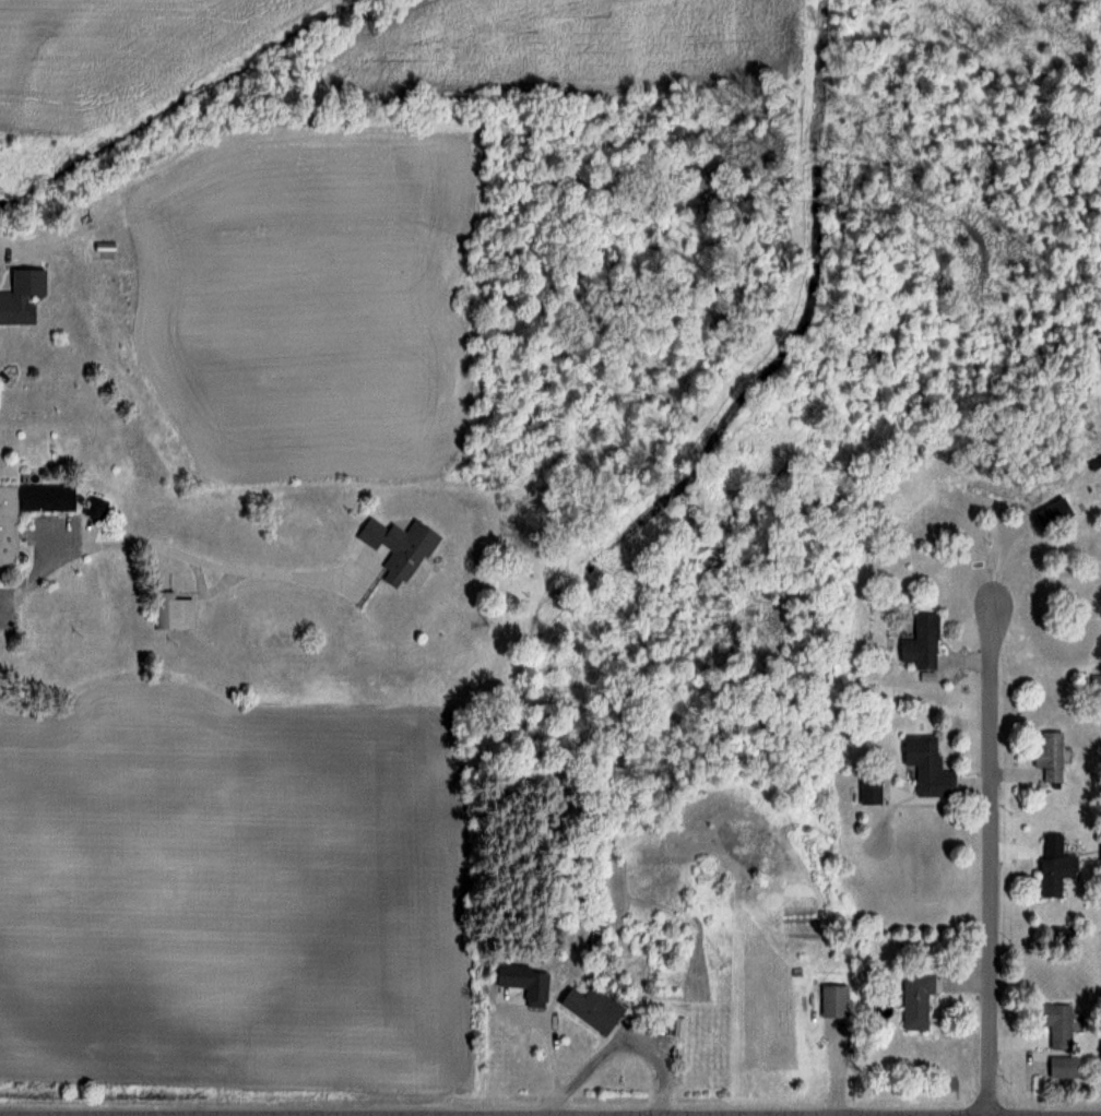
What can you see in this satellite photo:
road: (1, 245)
building: (22, 288)
building: (96, 507)
building: (1053, 513)
building: (8, 537)
building: (395, 548)
road: (48, 565)
road: (238, 570)
building: (173, 612)
building: (921, 642)
building: (1096, 688)
building: (1051, 756)
building: (927, 765)
building: (869, 787)
road: (990, 858)
building: (1054, 866)
building: (915, 998)
building: (833, 999)
building: (591, 1007)
building: (1057, 1023)
building: (1063, 1066)

